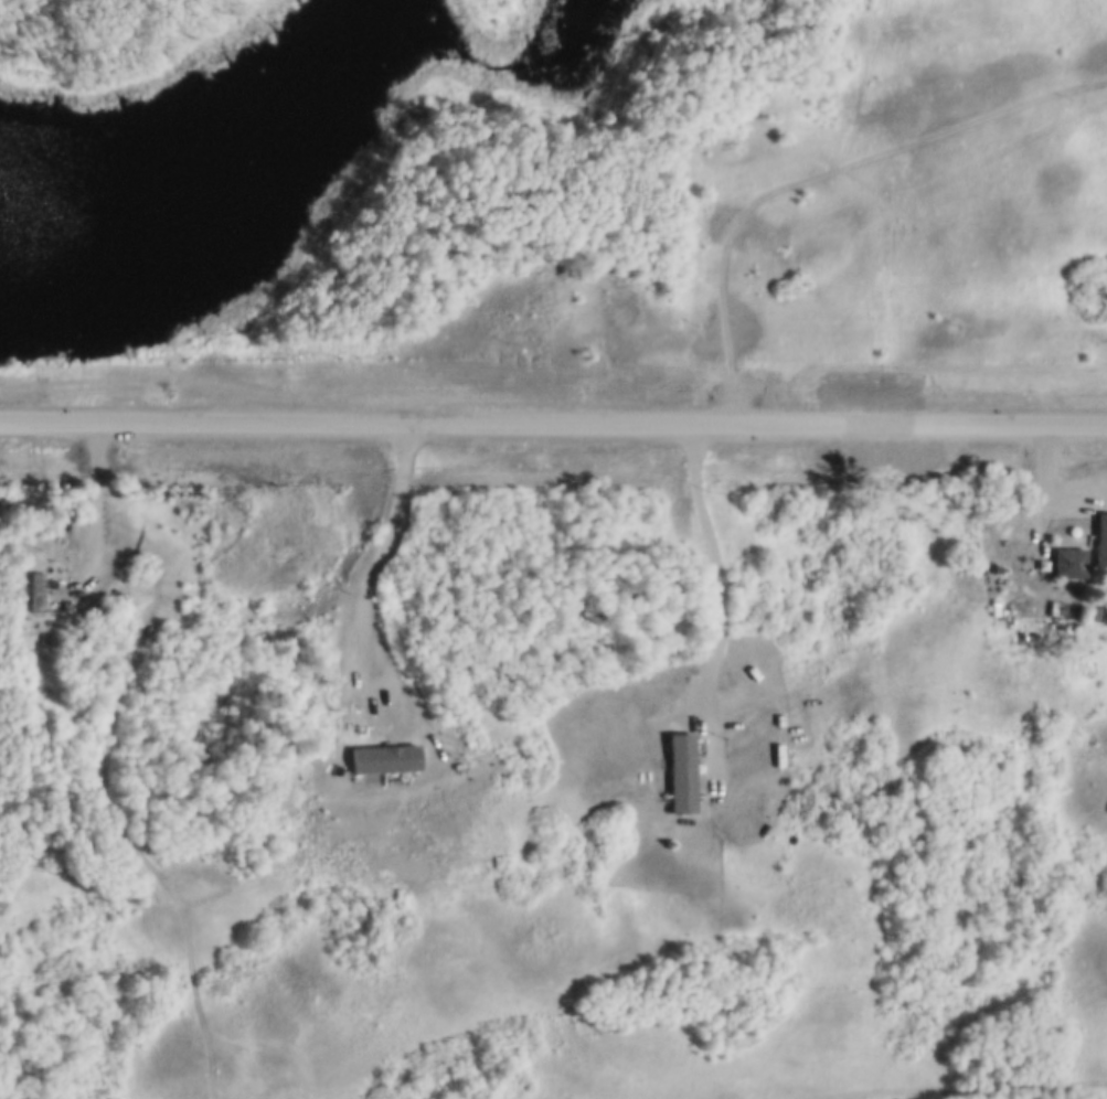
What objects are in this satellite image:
road: (820, 173)
building: (780, 247)
road: (553, 422)
road: (99, 495)
road: (1052, 502)
building: (1100, 537)
building: (1068, 561)
road: (722, 575)
building: (35, 590)
building: (1095, 613)
road: (65, 715)
building: (681, 770)

